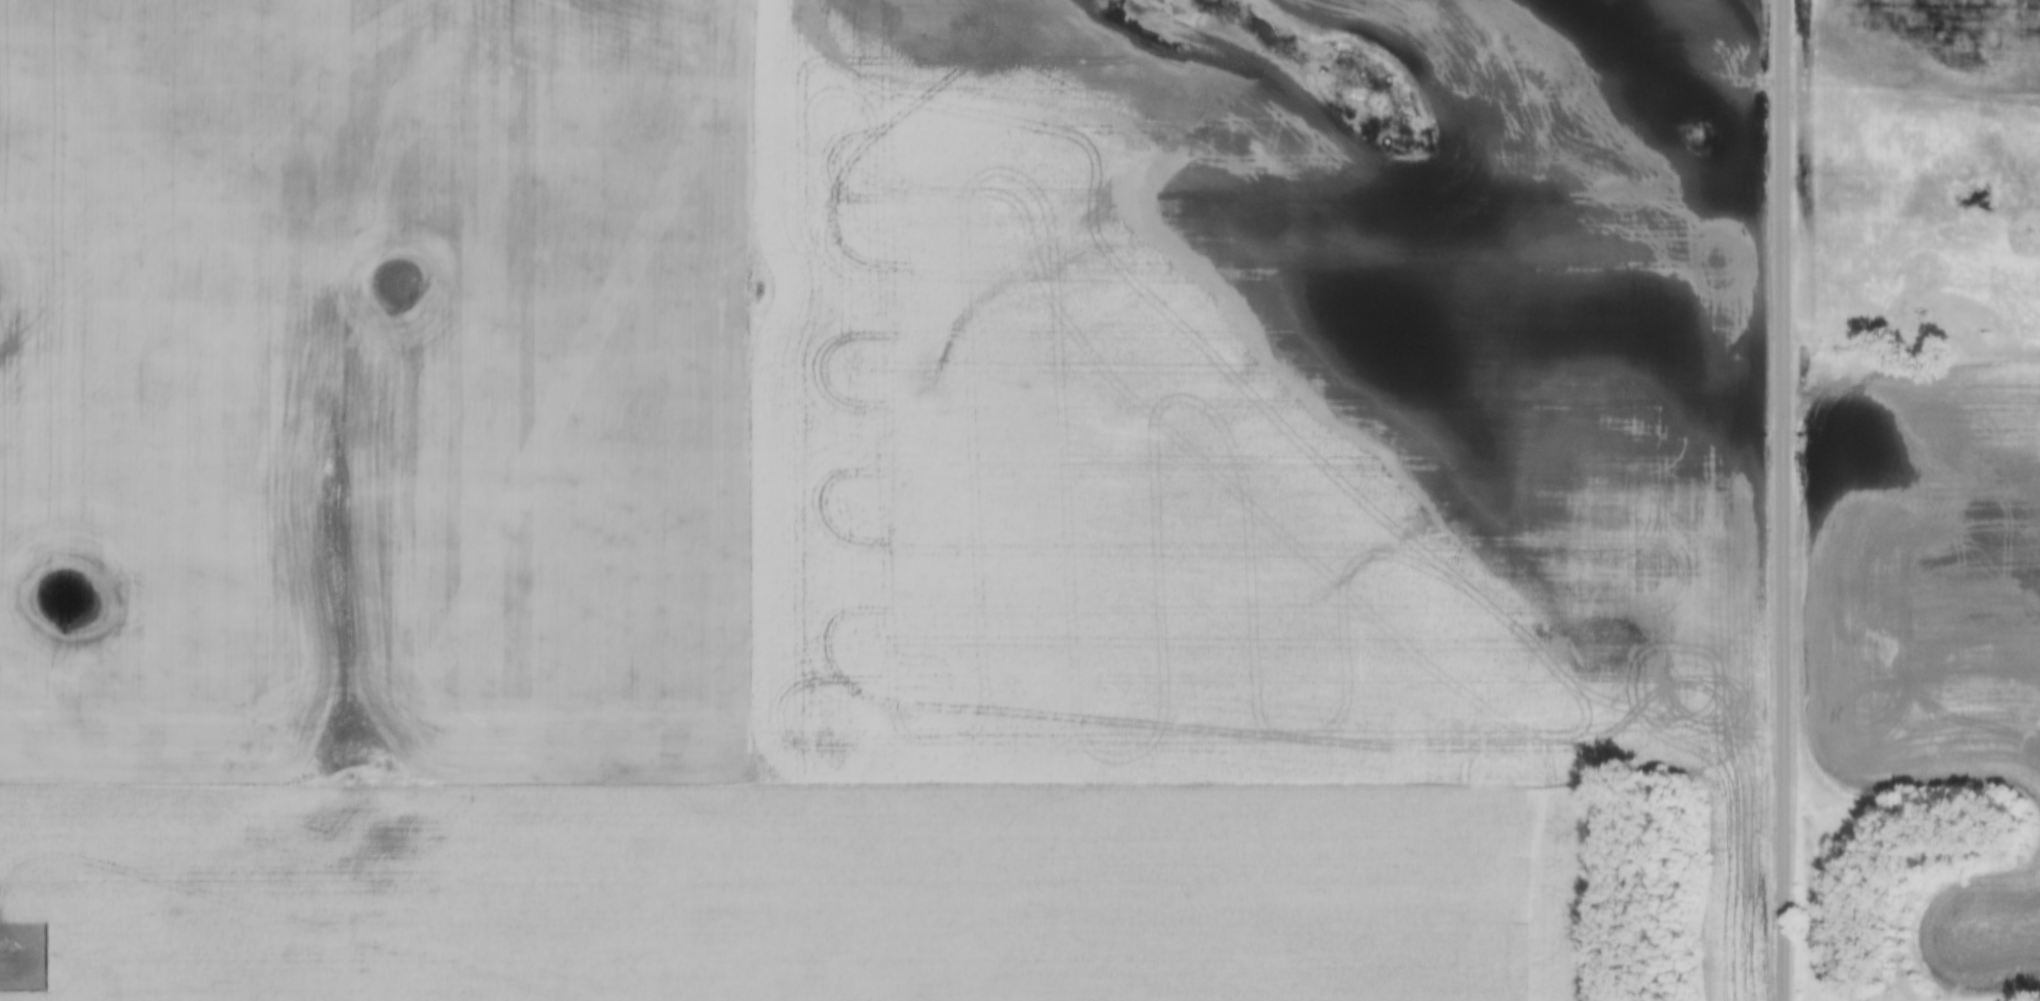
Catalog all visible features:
road: (1780, 500)

